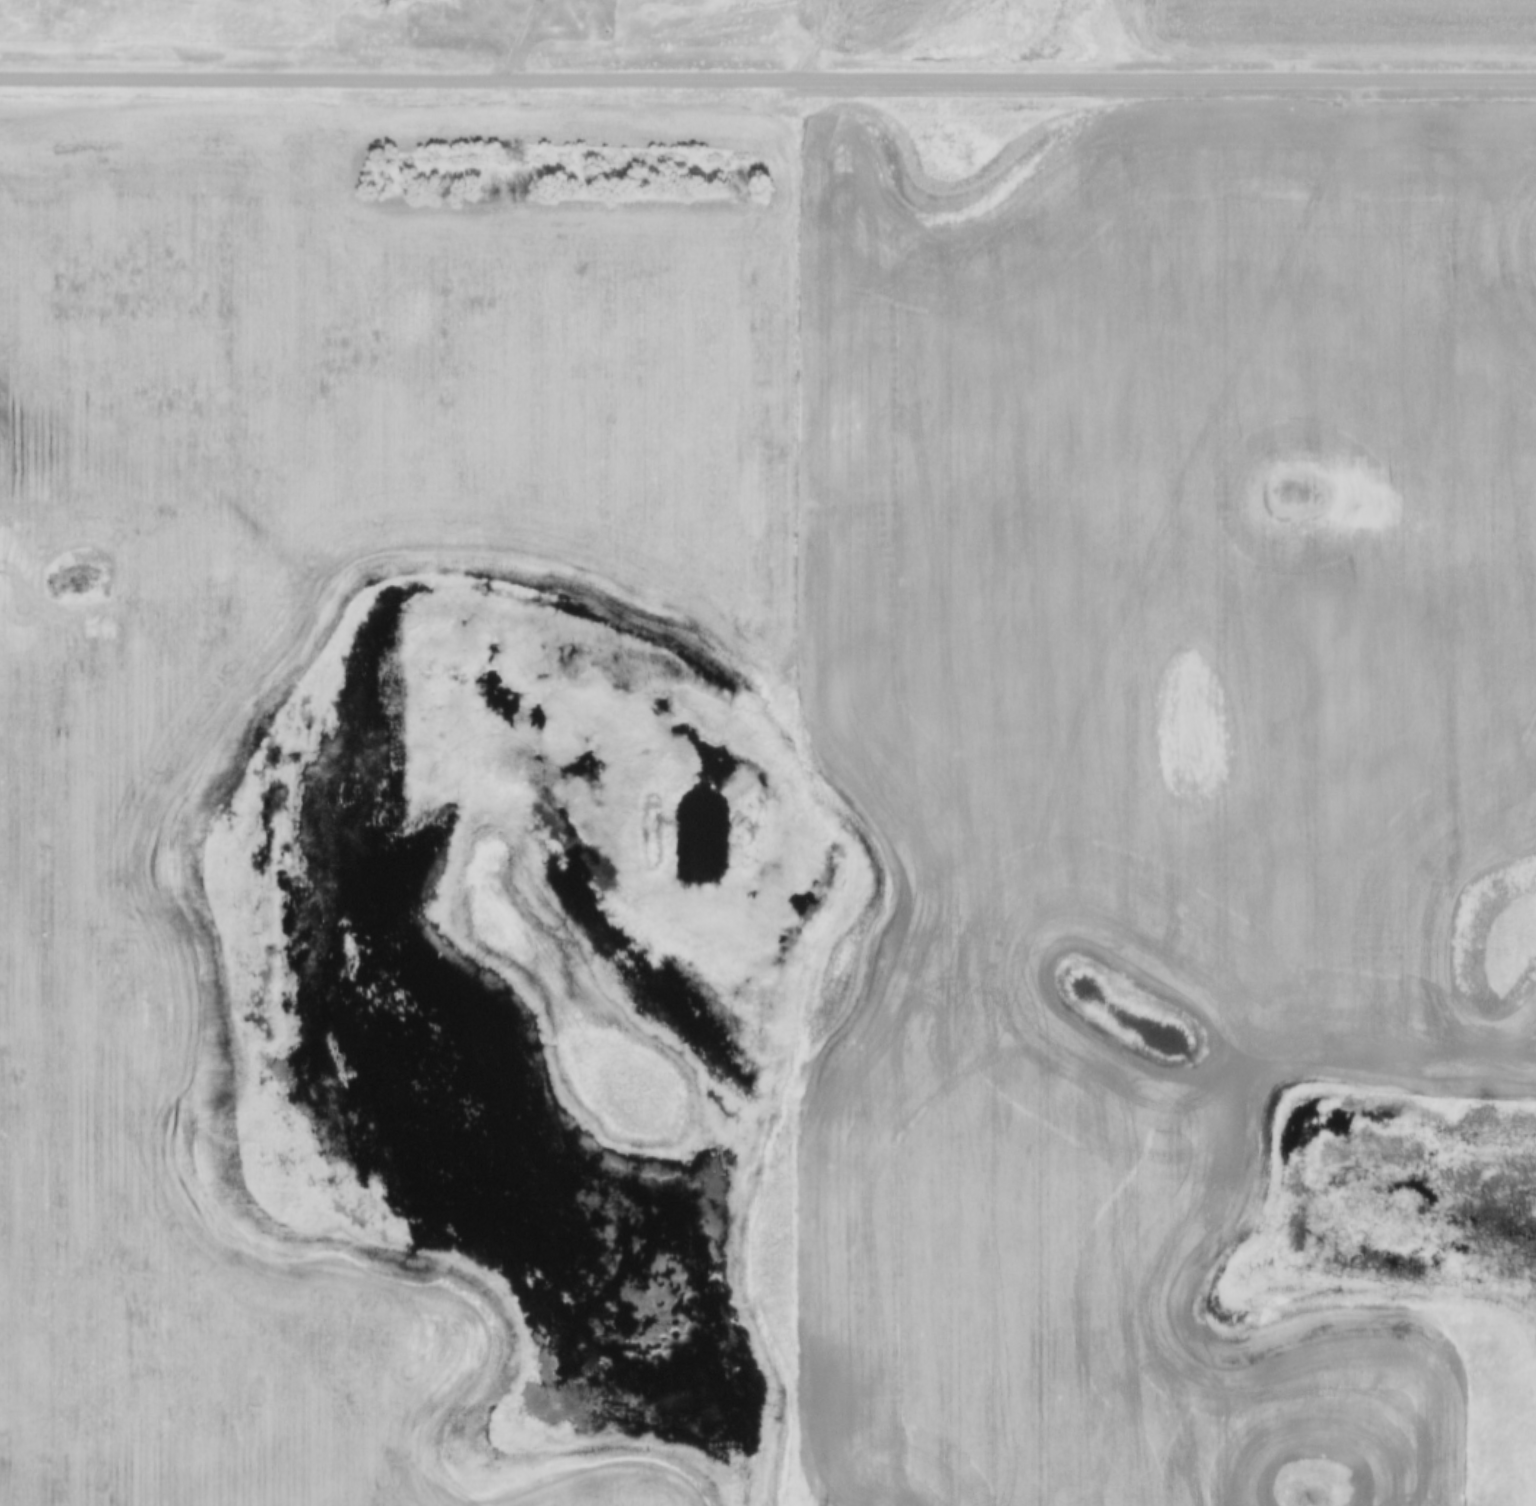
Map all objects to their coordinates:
building: (442, 1)
road: (521, 36)
road: (767, 76)

